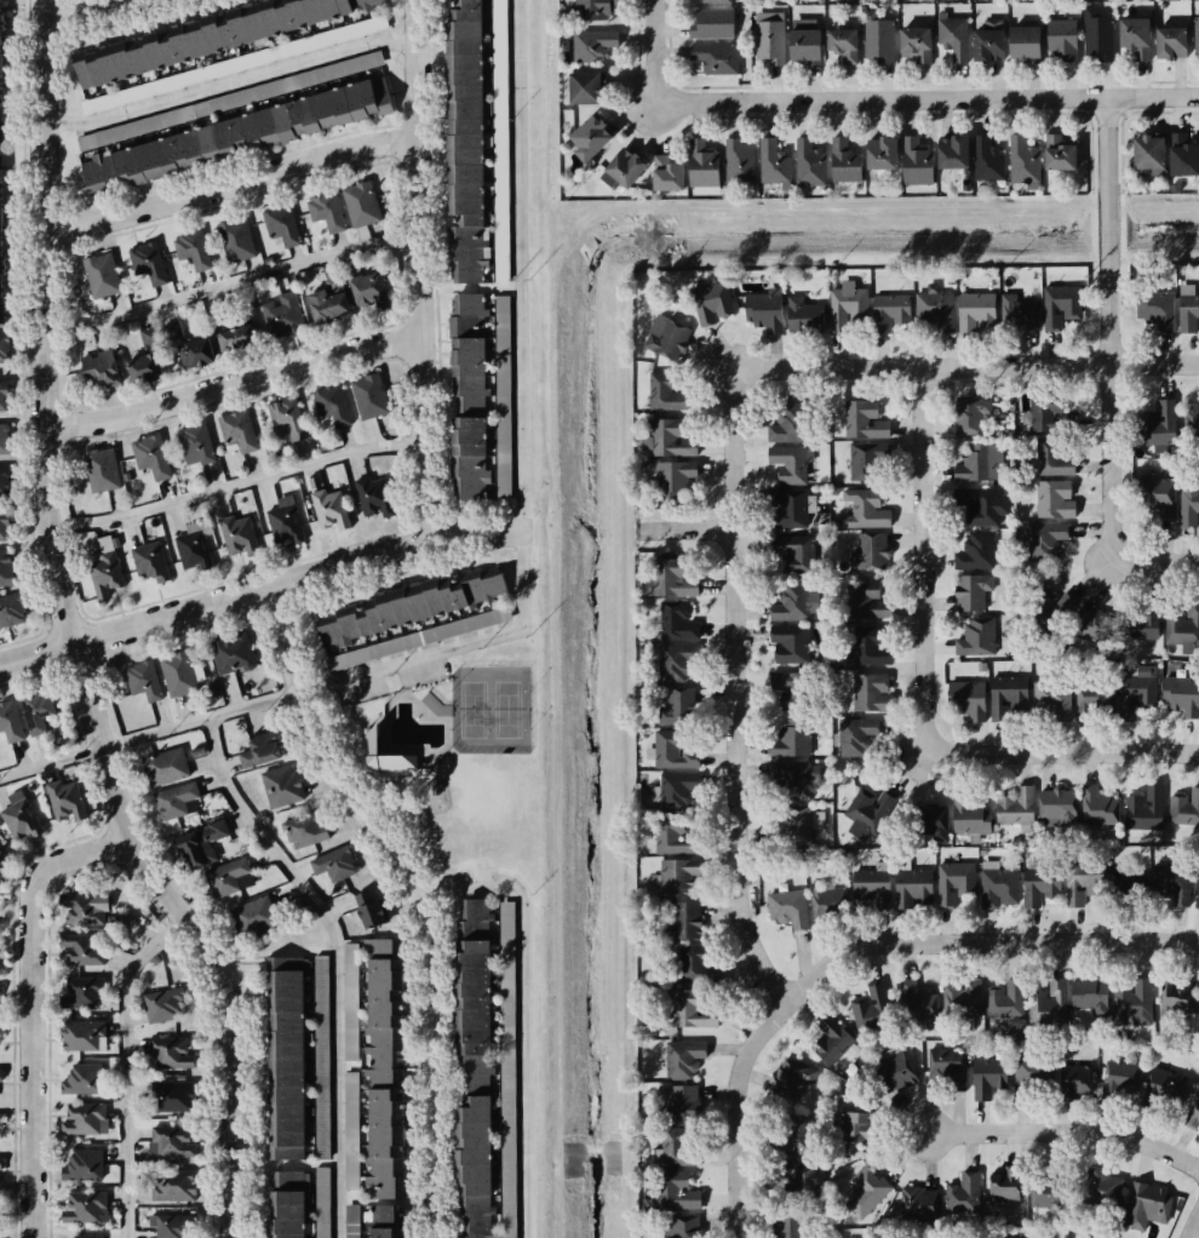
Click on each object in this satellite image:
building: (711, 1)
road: (73, 7)
building: (595, 8)
building: (712, 24)
building: (1194, 34)
building: (1097, 35)
building: (200, 36)
building: (953, 36)
building: (769, 38)
building: (1136, 38)
building: (878, 39)
building: (1062, 40)
building: (805, 41)
building: (989, 41)
building: (1168, 42)
building: (916, 44)
building: (1025, 44)
building: (593, 45)
building: (843, 45)
road: (654, 52)
building: (717, 58)
road: (229, 84)
building: (587, 88)
road: (925, 101)
building: (233, 137)
building: (591, 138)
building: (463, 141)
building: (500, 145)
building: (953, 153)
building: (882, 154)
building: (1059, 154)
building: (1147, 155)
building: (1180, 155)
building: (987, 160)
building: (739, 161)
building: (845, 162)
building: (917, 162)
building: (1025, 162)
building: (774, 164)
building: (810, 164)
building: (704, 168)
building: (624, 170)
building: (667, 174)
road: (228, 183)
building: (1, 205)
building: (361, 205)
building: (326, 211)
building: (281, 224)
building: (236, 240)
building: (193, 250)
building: (148, 263)
road: (415, 268)
building: (102, 275)
road: (228, 286)
building: (369, 291)
building: (329, 302)
building: (711, 303)
building: (1061, 305)
building: (847, 306)
building: (935, 308)
building: (1155, 309)
building: (765, 310)
building: (890, 311)
building: (976, 313)
building: (1187, 313)
building: (1017, 314)
building: (283, 315)
building: (804, 316)
road: (1108, 329)
building: (150, 338)
building: (236, 338)
building: (667, 338)
building: (4, 348)
building: (189, 348)
road: (964, 367)
building: (101, 368)
building: (145, 368)
building: (503, 377)
road: (233, 386)
building: (665, 392)
building: (1, 396)
building: (369, 396)
building: (467, 396)
building: (332, 406)
building: (973, 415)
building: (1046, 415)
building: (287, 417)
building: (864, 420)
building: (1191, 420)
building: (788, 424)
building: (1157, 424)
building: (239, 430)
building: (670, 439)
building: (1, 440)
building: (196, 445)
building: (151, 457)
building: (1054, 458)
building: (864, 462)
building: (981, 463)
building: (792, 464)
building: (103, 470)
building: (675, 478)
building: (1, 483)
road: (239, 486)
building: (1157, 493)
building: (374, 497)
building: (1055, 499)
building: (1188, 504)
building: (981, 505)
building: (792, 508)
building: (865, 509)
building: (331, 510)
building: (285, 521)
building: (4, 526)
road: (689, 529)
building: (239, 535)
building: (1045, 540)
building: (193, 548)
building: (976, 551)
building: (871, 552)
building: (793, 554)
road: (922, 561)
building: (150, 562)
road: (1157, 562)
building: (5, 568)
building: (104, 573)
building: (670, 579)
road: (522, 585)
road: (259, 590)
building: (973, 591)
building: (866, 600)
building: (794, 603)
building: (409, 607)
building: (1052, 607)
building: (11, 611)
building: (677, 621)
building: (1142, 623)
building: (1091, 625)
building: (1183, 625)
road: (71, 636)
building: (977, 637)
building: (418, 638)
building: (790, 643)
building: (867, 647)
building: (233, 654)
building: (673, 663)
building: (179, 674)
building: (143, 681)
road: (400, 689)
building: (788, 689)
road: (734, 690)
building: (872, 693)
building: (1137, 693)
building: (1008, 695)
building: (1182, 695)
building: (968, 699)
building: (1052, 699)
building: (1091, 699)
road: (342, 706)
building: (676, 707)
park: (471, 709)
park: (488, 710)
park: (506, 710)
building: (38, 711)
building: (10, 722)
road: (351, 733)
building: (855, 737)
building: (792, 739)
building: (369, 745)
building: (259, 750)
road: (453, 750)
building: (675, 750)
road: (1061, 752)
road: (453, 755)
road: (444, 757)
park: (449, 757)
road: (345, 762)
road: (434, 763)
road: (367, 764)
building: (166, 767)
building: (794, 779)
road: (392, 780)
road: (363, 785)
building: (281, 786)
building: (675, 791)
building: (65, 801)
building: (177, 801)
building: (1057, 807)
building: (1098, 807)
building: (1017, 808)
building: (1184, 808)
building: (1144, 810)
building: (868, 812)
building: (19, 816)
building: (970, 816)
building: (934, 821)
building: (796, 824)
building: (306, 830)
building: (675, 836)
building: (202, 844)
building: (1, 862)
building: (334, 864)
building: (678, 877)
building: (229, 878)
building: (1120, 878)
building: (956, 882)
building: (1082, 882)
building: (1172, 883)
building: (1039, 884)
building: (872, 885)
building: (998, 885)
building: (913, 888)
road: (418, 893)
building: (1197, 896)
building: (826, 898)
building: (85, 909)
building: (788, 909)
building: (372, 911)
building: (684, 922)
road: (983, 941)
building: (82, 950)
building: (0, 951)
road: (334, 958)
building: (696, 964)
building: (0, 988)
building: (82, 993)
building: (1089, 998)
building: (962, 999)
building: (1006, 1001)
building: (350, 1002)
building: (1176, 1002)
building: (1048, 1003)
building: (1132, 1003)
building: (162, 1004)
building: (918, 1004)
road: (526, 1008)
road: (39, 1009)
building: (692, 1010)
building: (871, 1010)
building: (0, 1036)
building: (84, 1036)
building: (831, 1041)
building: (170, 1053)
building: (282, 1058)
building: (683, 1059)
road: (124, 1064)
building: (950, 1065)
building: (383, 1068)
building: (472, 1068)
building: (507, 1070)
building: (894, 1071)
building: (1032, 1071)
building: (1, 1076)
building: (988, 1077)
building: (1120, 1078)
building: (84, 1079)
building: (794, 1079)
building: (1075, 1083)
building: (1165, 1084)
building: (173, 1095)
building: (682, 1104)
building: (351, 1112)
road: (744, 1113)
building: (1194, 1117)
building: (85, 1119)
building: (0, 1120)
building: (856, 1128)
road: (1065, 1131)
building: (791, 1136)
building: (171, 1141)
building: (678, 1148)
building: (0, 1164)
building: (84, 1165)
building: (798, 1180)
building: (1005, 1185)
building: (173, 1186)
building: (1101, 1188)
building: (676, 1191)
building: (866, 1192)
building: (1046, 1194)
building: (963, 1196)
building: (321, 1204)
building: (285, 1205)
building: (919, 1205)
building: (0, 1207)
building: (1147, 1207)
building: (85, 1208)
building: (384, 1221)
building: (787, 1223)
building: (171, 1226)
building: (685, 1226)
road: (1197, 1232)
building: (1000, 1236)
building: (81, 1237)

